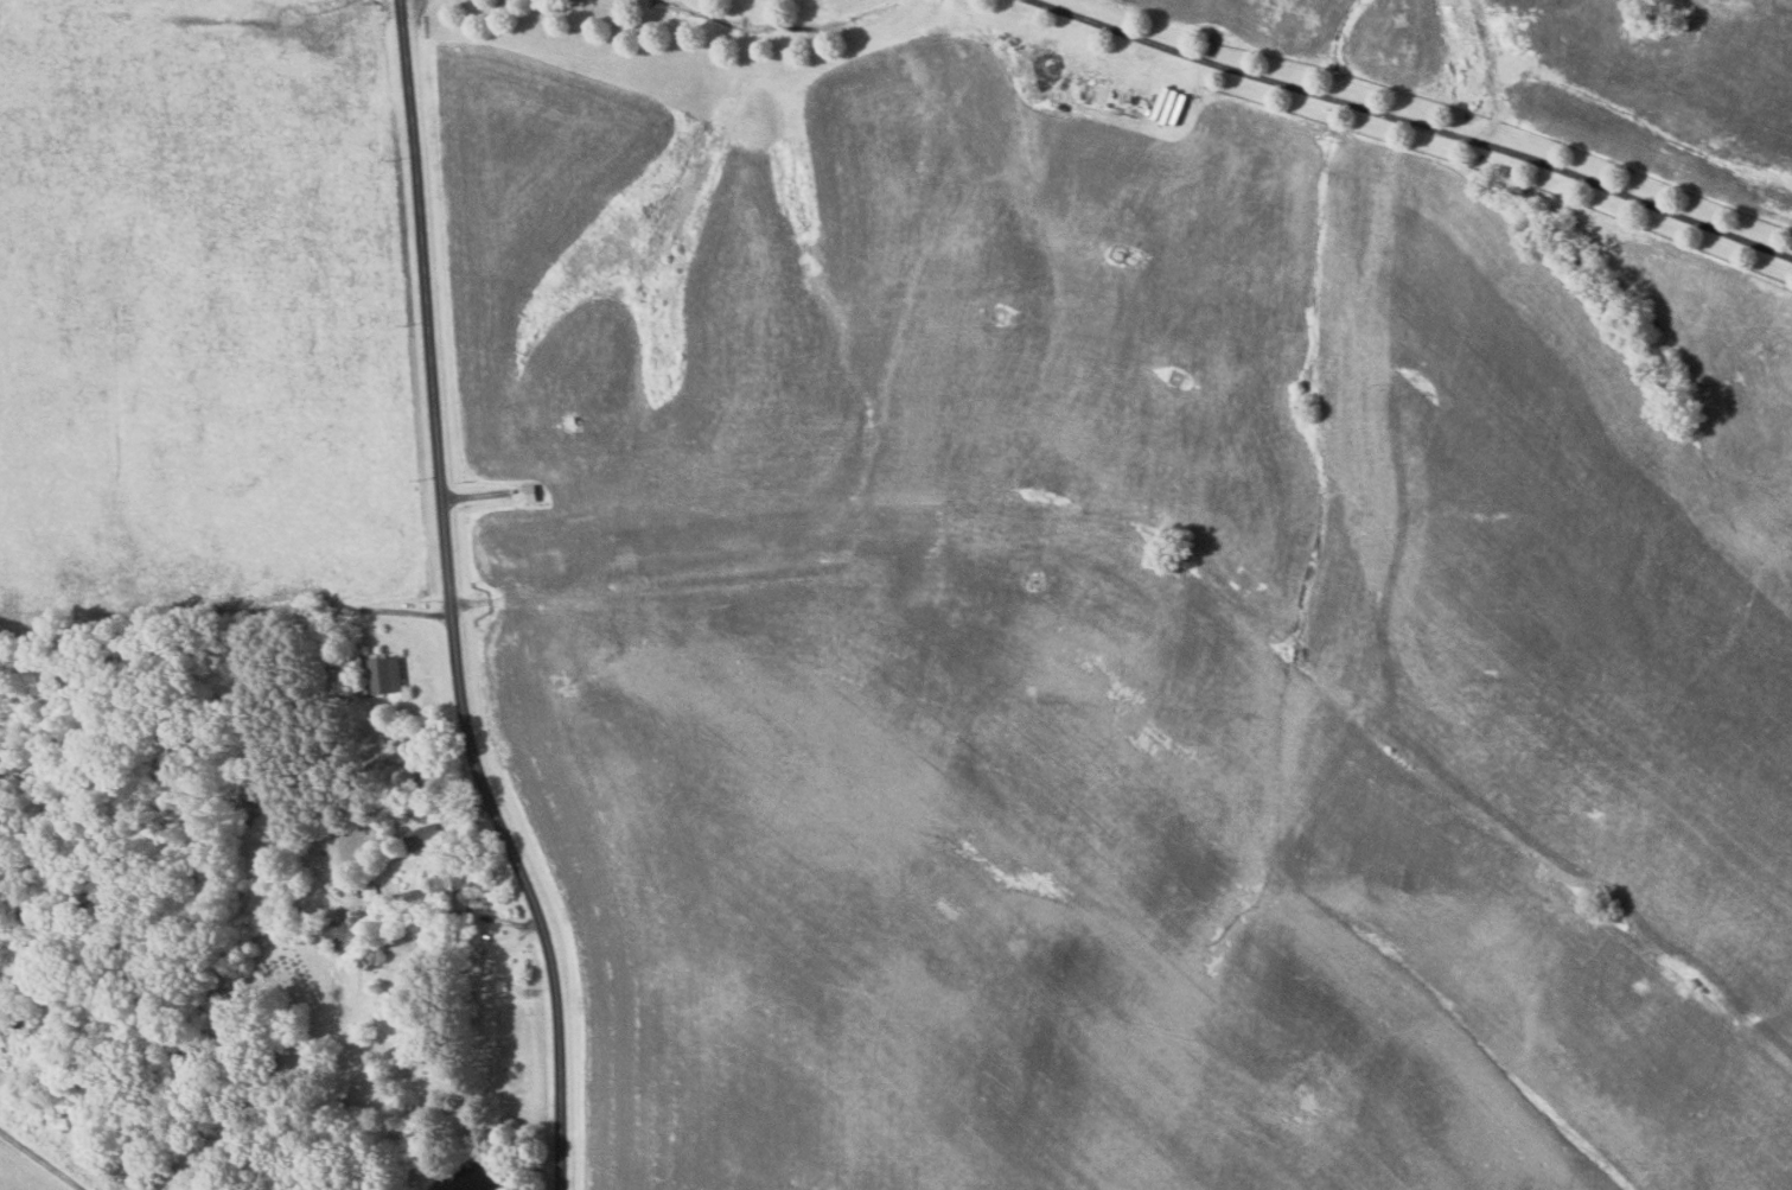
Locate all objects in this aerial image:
road: (1411, 125)
road: (448, 602)
road: (387, 610)
building: (384, 674)
building: (420, 838)
building: (343, 934)
road: (39, 1160)

